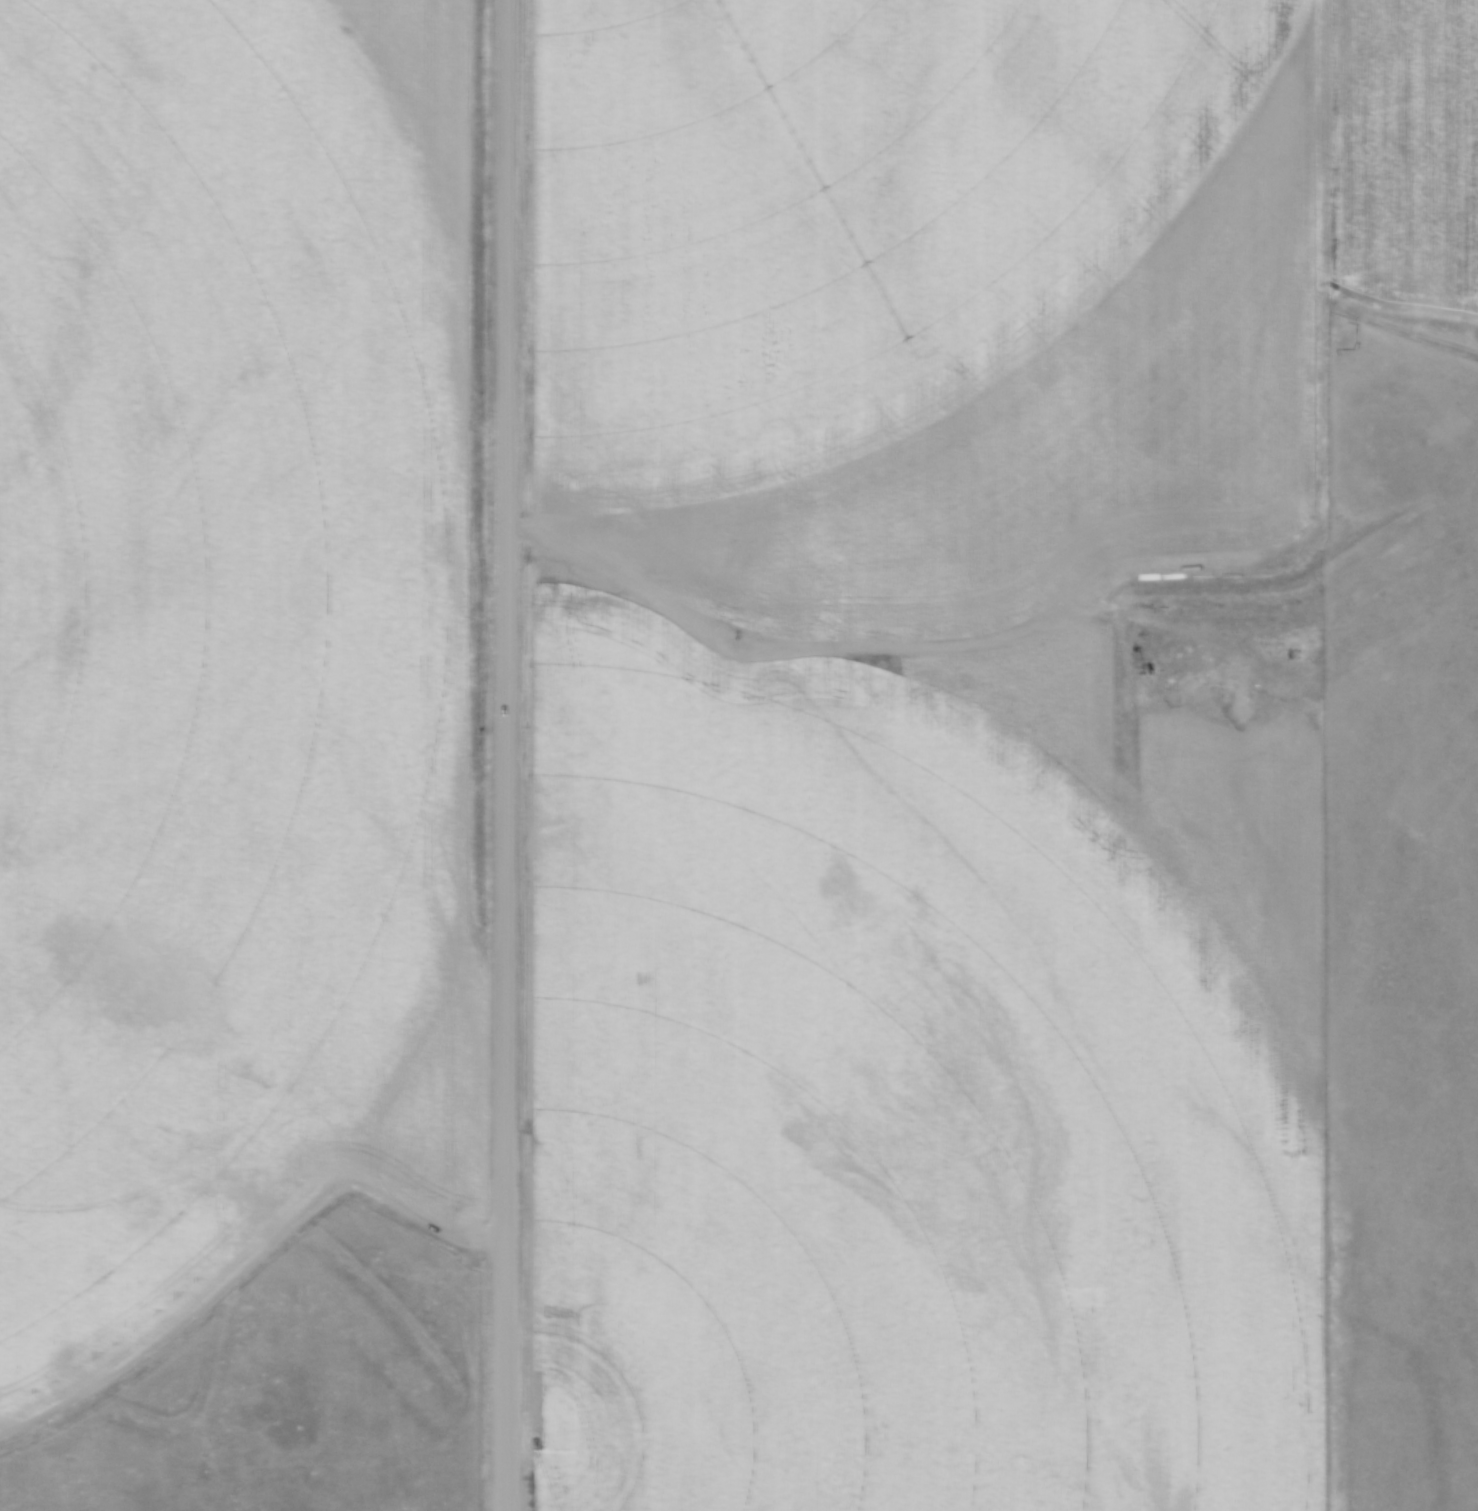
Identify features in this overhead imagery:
crop: (963, 281)
crop: (231, 647)
road: (503, 755)
crop: (919, 1081)

